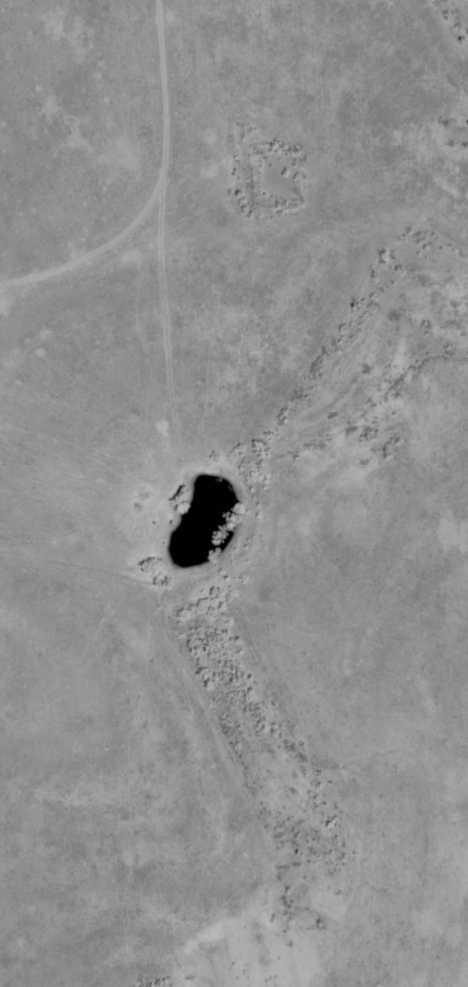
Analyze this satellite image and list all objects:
road: (166, 182)

